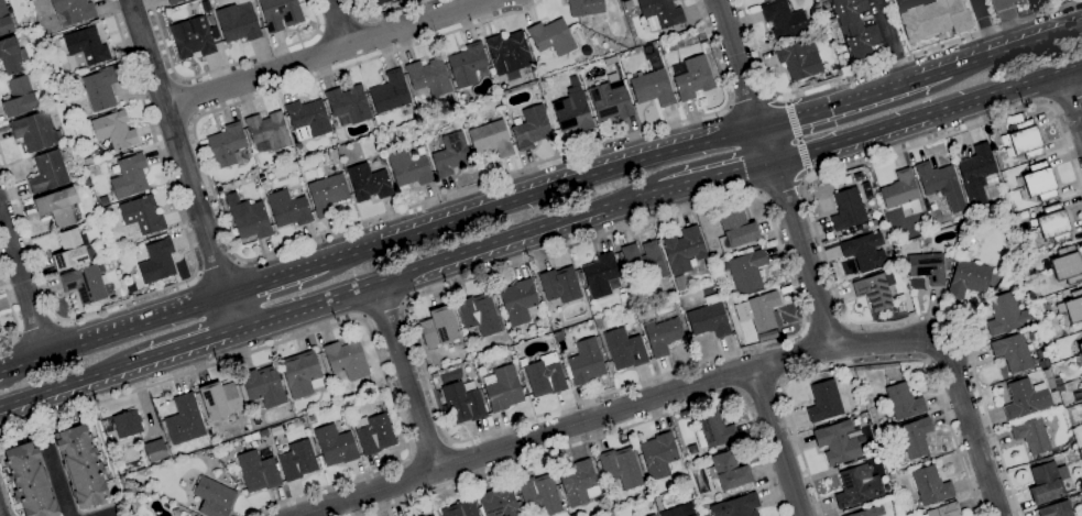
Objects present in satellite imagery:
building: (299, 0)
building: (761, 0)
building: (764, 0)
building: (770, 0)
building: (1015, 0)
building: (173, 1)
road: (899, 1)
building: (381, 2)
road: (1028, 2)
building: (398, 4)
building: (627, 4)
building: (205, 7)
building: (584, 7)
building: (72, 11)
building: (280, 13)
road: (383, 13)
building: (659, 13)
building: (931, 19)
building: (4, 21)
building: (784, 21)
building: (237, 23)
building: (261, 23)
road: (336, 24)
road: (1007, 24)
building: (852, 26)
road: (984, 28)
building: (822, 33)
building: (551, 37)
building: (192, 39)
road: (889, 43)
building: (47, 44)
building: (85, 47)
road: (1015, 48)
building: (664, 50)
building: (507, 53)
road: (327, 54)
building: (10, 56)
building: (799, 59)
building: (467, 65)
road: (225, 67)
road: (881, 68)
building: (28, 69)
building: (428, 77)
building: (691, 77)
building: (812, 81)
building: (653, 86)
building: (100, 88)
building: (390, 92)
building: (19, 98)
road: (1064, 99)
building: (610, 100)
road: (751, 100)
road: (1071, 100)
road: (186, 101)
road: (855, 101)
building: (348, 106)
building: (572, 110)
road: (927, 112)
building: (307, 118)
building: (373, 123)
building: (531, 128)
building: (113, 130)
building: (33, 131)
building: (267, 132)
building: (383, 139)
building: (1023, 139)
building: (490, 140)
building: (226, 145)
building: (331, 153)
building: (450, 155)
road: (183, 164)
building: (408, 169)
building: (47, 173)
road: (775, 173)
road: (715, 174)
building: (977, 174)
building: (128, 176)
building: (935, 178)
building: (1039, 182)
building: (87, 183)
building: (368, 183)
road: (568, 184)
road: (782, 189)
building: (900, 193)
building: (326, 194)
building: (102, 200)
building: (56, 206)
building: (287, 209)
building: (848, 210)
building: (105, 211)
building: (1004, 213)
building: (141, 216)
building: (248, 220)
building: (1053, 223)
building: (736, 228)
building: (862, 231)
road: (817, 237)
road: (291, 246)
building: (69, 250)
building: (682, 250)
building: (864, 252)
road: (353, 255)
building: (617, 256)
road: (447, 257)
building: (644, 260)
building: (156, 261)
building: (1067, 265)
road: (217, 266)
building: (927, 267)
building: (745, 270)
building: (966, 274)
building: (600, 275)
road: (276, 281)
road: (181, 283)
road: (23, 284)
building: (86, 284)
building: (680, 284)
building: (559, 285)
building: (997, 289)
building: (875, 290)
building: (900, 298)
building: (517, 301)
building: (1017, 301)
building: (1072, 307)
building: (758, 310)
road: (383, 311)
road: (12, 312)
building: (478, 315)
building: (1006, 315)
building: (1042, 317)
building: (709, 318)
building: (598, 323)
road: (36, 327)
road: (328, 327)
building: (438, 328)
road: (826, 328)
road: (801, 330)
road: (113, 334)
building: (663, 337)
road: (185, 345)
building: (624, 349)
building: (1013, 352)
building: (1079, 354)
building: (347, 360)
building: (584, 362)
building: (1042, 364)
road: (864, 366)
road: (0, 373)
building: (302, 373)
building: (1046, 373)
building: (434, 375)
building: (545, 376)
road: (404, 377)
building: (1058, 381)
road: (66, 384)
building: (261, 387)
building: (502, 388)
road: (759, 388)
building: (1060, 388)
building: (378, 394)
building: (1025, 399)
building: (219, 400)
building: (823, 402)
building: (903, 402)
building: (461, 404)
building: (710, 405)
building: (862, 409)
road: (617, 410)
building: (843, 417)
building: (184, 420)
building: (125, 424)
road: (970, 428)
building: (713, 430)
building: (275, 431)
road: (610, 432)
building: (262, 433)
building: (373, 433)
building: (1031, 435)
building: (253, 436)
building: (247, 438)
building: (915, 438)
road: (776, 440)
building: (838, 442)
building: (335, 446)
road: (428, 449)
building: (691, 449)
building: (154, 450)
building: (657, 455)
building: (923, 459)
building: (295, 460)
building: (1045, 460)
building: (80, 466)
building: (620, 468)
building: (256, 472)
building: (729, 473)
building: (29, 481)
road: (57, 482)
building: (578, 483)
building: (1047, 483)
building: (930, 486)
building: (856, 487)
building: (1071, 493)
building: (539, 494)
building: (646, 495)
building: (212, 497)
building: (499, 503)
building: (657, 504)
building: (736, 506)
building: (460, 508)
building: (1056, 509)
building: (678, 510)
building: (944, 510)
building: (533, 512)
building: (871, 512)
road: (0, 514)
building: (422, 515)
building: (431, 515)
building: (608, 515)
building: (652, 515)
building: (653, 515)

